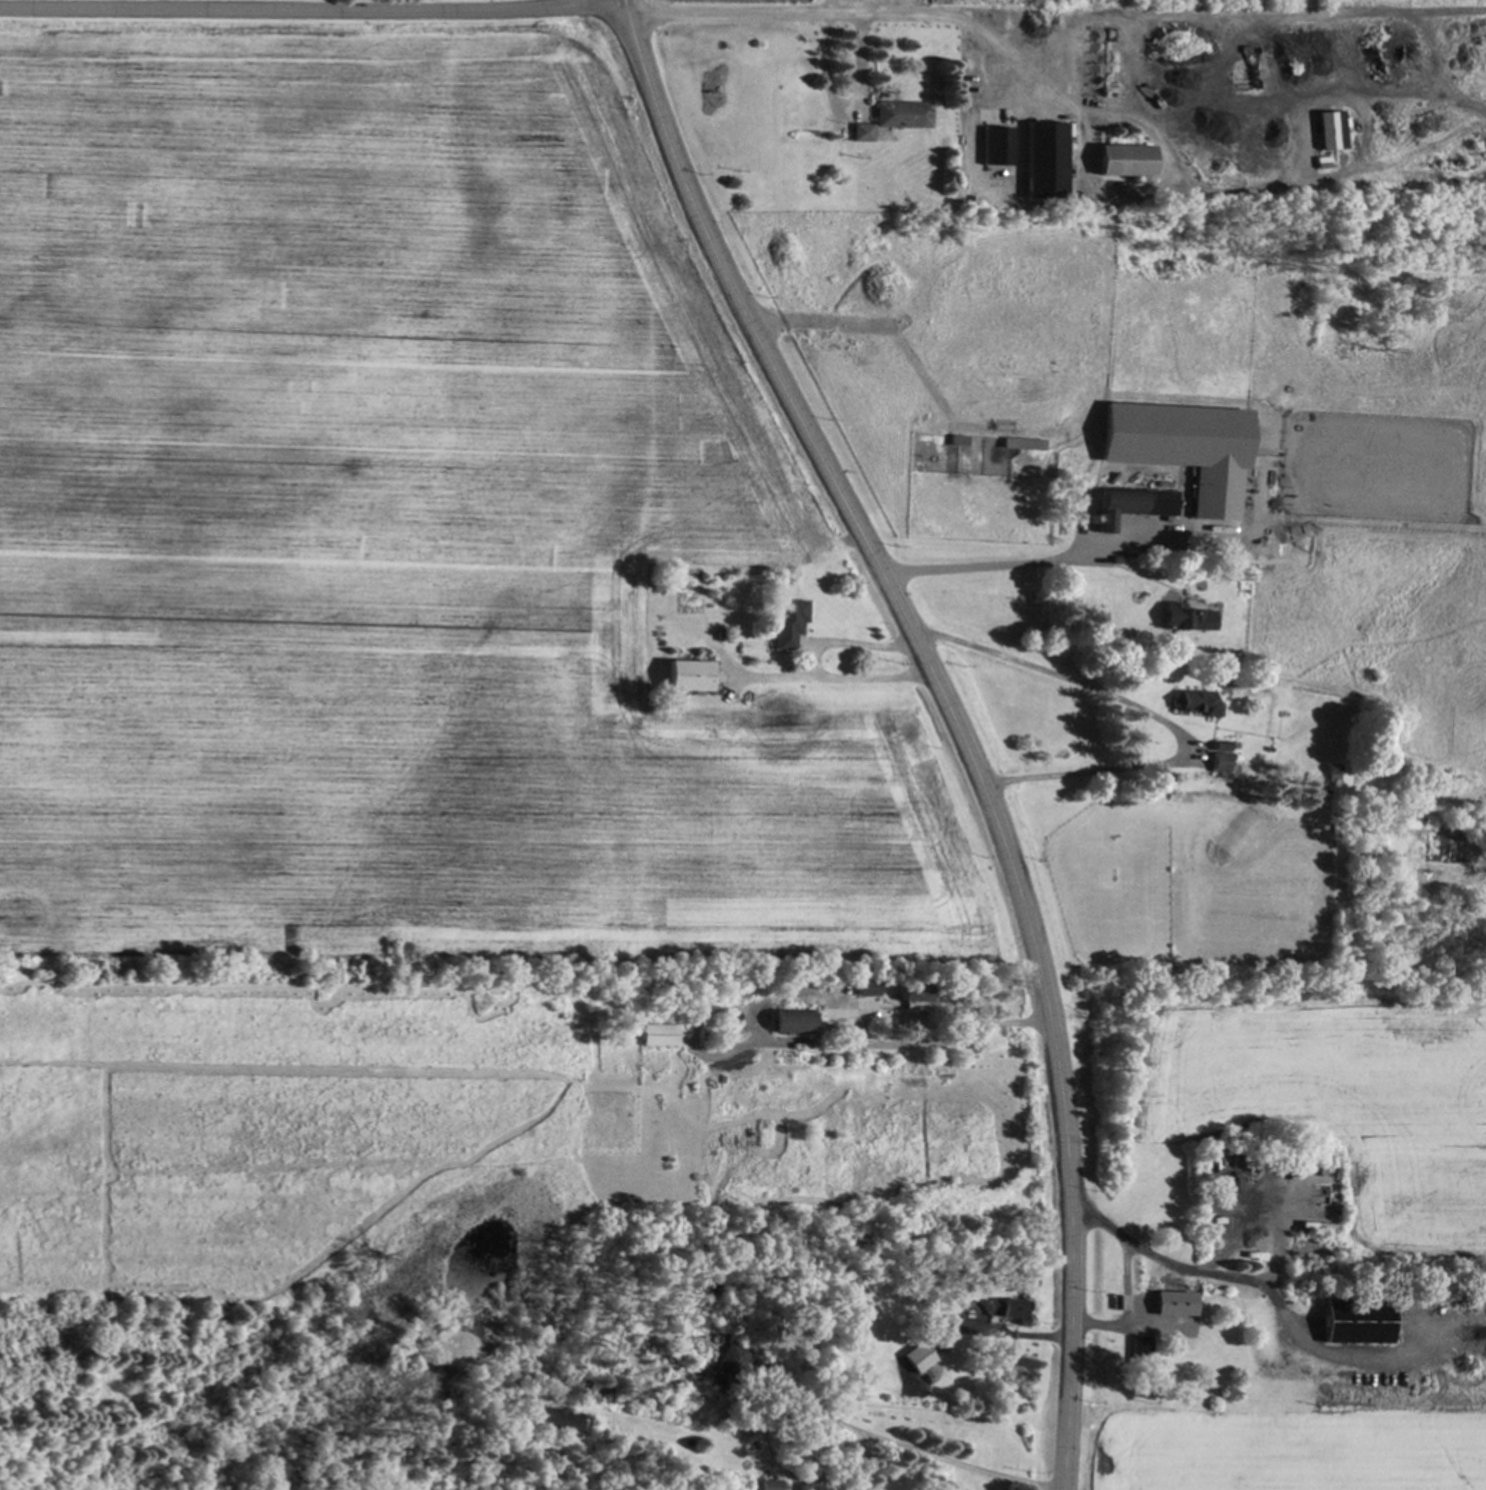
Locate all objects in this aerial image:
road: (621, 0)
road: (311, 2)
crop: (1306, 3)
road: (737, 14)
road: (1058, 109)
building: (901, 114)
building: (1326, 129)
building: (861, 131)
building: (994, 145)
building: (1042, 158)
building: (1121, 159)
building: (1020, 442)
building: (1180, 447)
building: (1131, 504)
crop: (400, 531)
road: (989, 565)
building: (1185, 617)
building: (787, 621)
road: (850, 645)
building: (687, 675)
road: (833, 680)
building: (1198, 702)
road: (1155, 712)
road: (952, 717)
building: (1219, 755)
building: (865, 986)
building: (913, 999)
building: (791, 1020)
building: (658, 1034)
road: (941, 1041)
road: (1248, 1281)
building: (1172, 1303)
building: (1002, 1307)
road: (1124, 1308)
building: (1355, 1323)
building: (1137, 1349)
building: (916, 1356)
building: (727, 1366)
building: (559, 1419)
road: (907, 1449)
building: (770, 1484)

